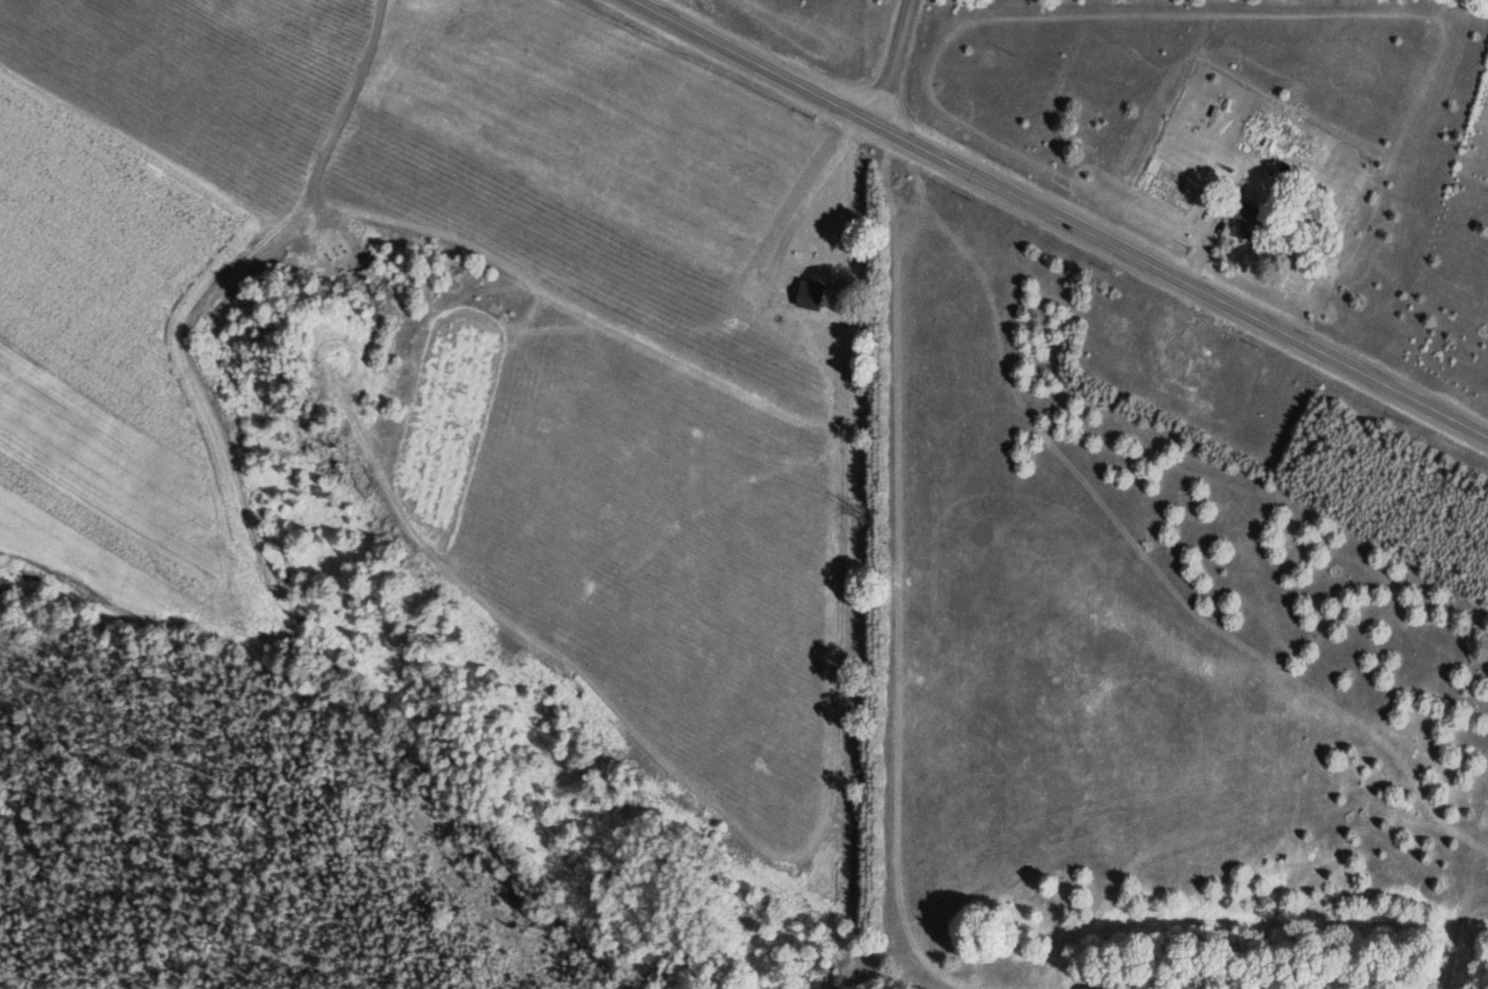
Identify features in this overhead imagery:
road: (892, 63)
building: (1239, 214)
road: (1060, 219)

